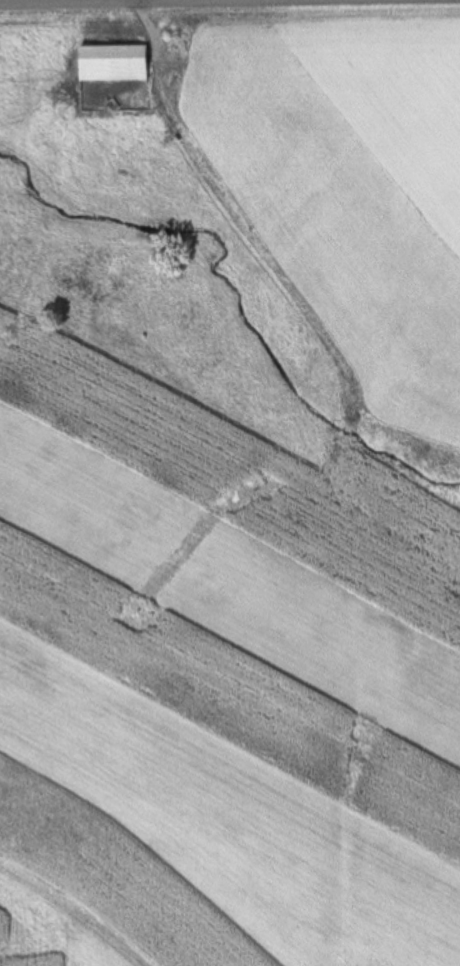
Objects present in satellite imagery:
road: (46, 0)
building: (174, 38)
building: (113, 63)

